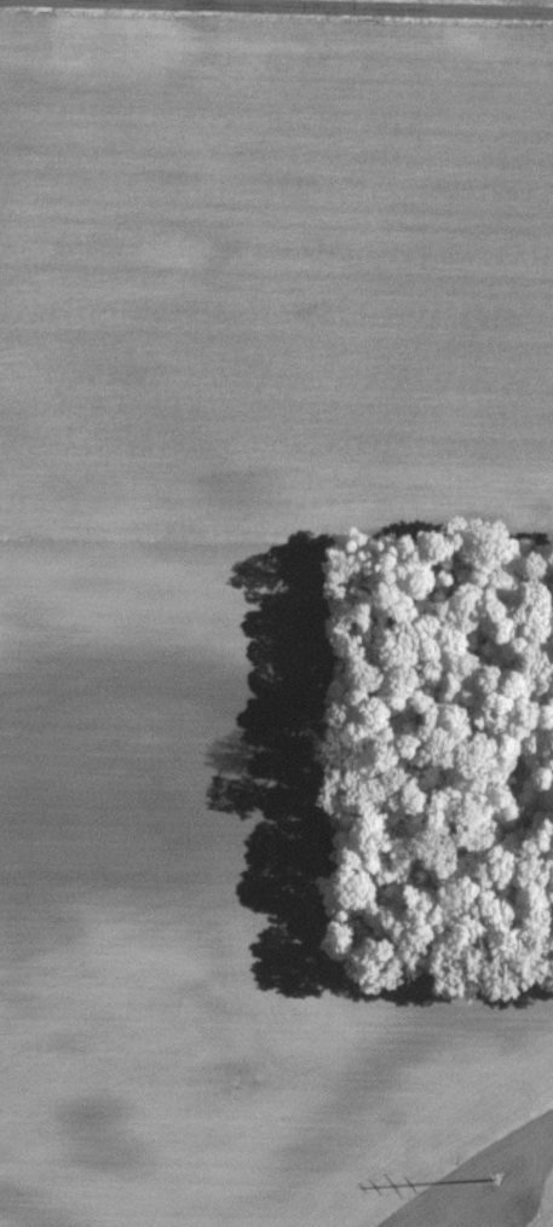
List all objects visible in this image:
road: (289, 6)
power tower: (515, 1210)

